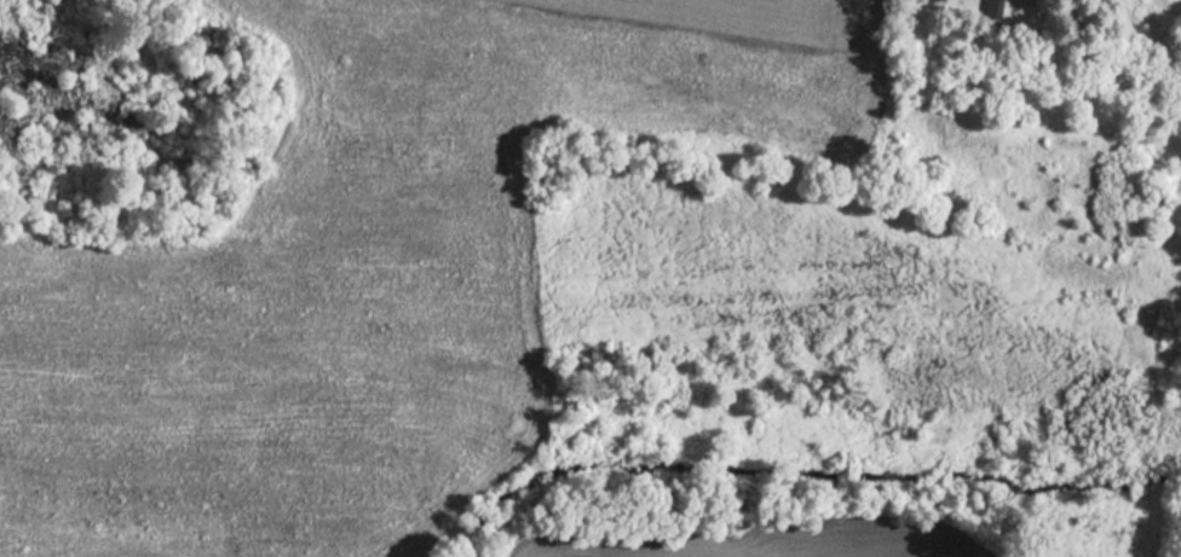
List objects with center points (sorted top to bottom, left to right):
crop: (370, 274)

